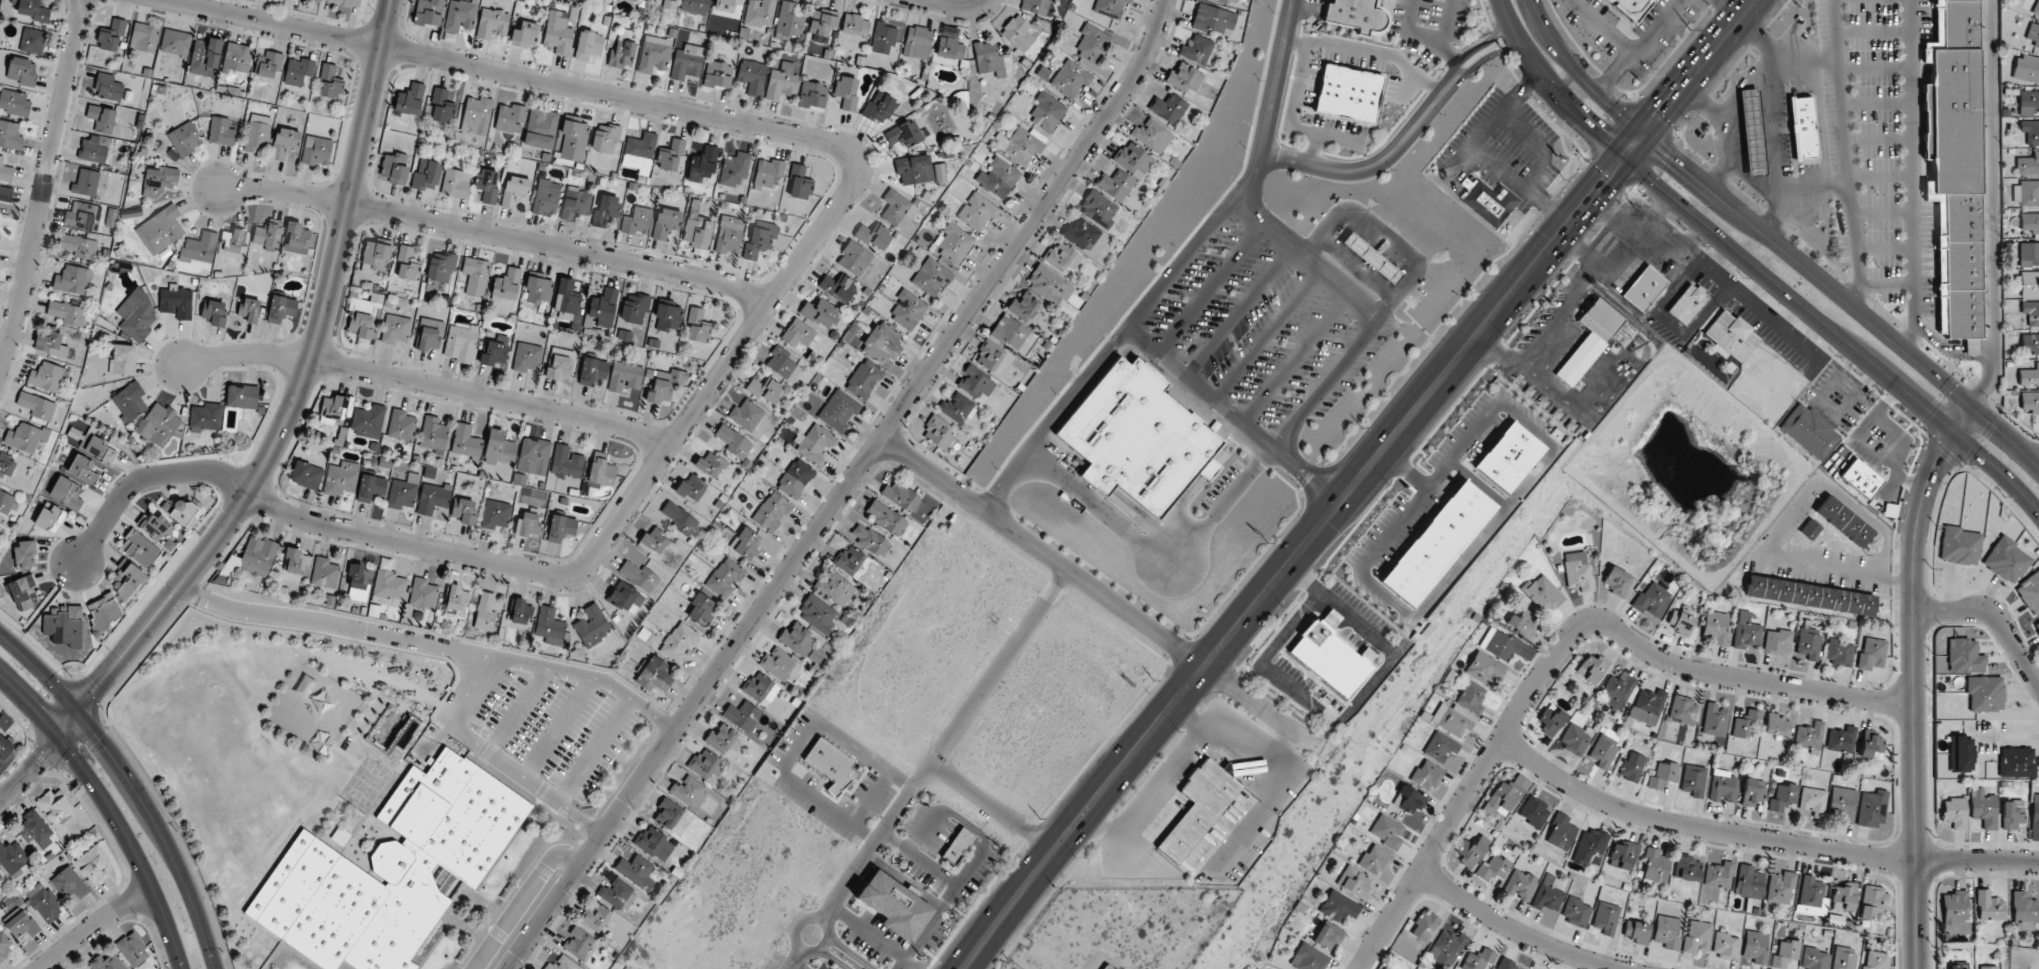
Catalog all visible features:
building: (324, 0)
building: (1227, 1)
building: (347, 3)
building: (667, 4)
building: (725, 5)
building: (695, 6)
road: (952, 6)
building: (1035, 6)
building: (1110, 8)
building: (1630, 8)
building: (2036, 8)
building: (32, 11)
building: (428, 13)
building: (759, 13)
building: (1357, 14)
building: (460, 16)
building: (1212, 19)
building: (788, 22)
building: (505, 24)
building: (822, 25)
building: (854, 29)
power tower: (1688, 29)
building: (1018, 33)
building: (557, 34)
building: (2033, 34)
building: (111, 35)
building: (525, 35)
building: (144, 37)
building: (883, 38)
building: (32, 40)
building: (917, 42)
building: (175, 43)
building: (1092, 43)
building: (588, 45)
building: (948, 46)
building: (1196, 49)
building: (621, 54)
building: (654, 54)
building: (205, 56)
road: (1802, 56)
building: (988, 58)
building: (237, 59)
building: (687, 62)
building: (268, 64)
road: (1696, 68)
building: (2026, 68)
building: (22, 71)
building: (298, 71)
road: (1578, 74)
building: (718, 75)
building: (752, 76)
building: (1070, 78)
building: (1184, 78)
building: (329, 82)
building: (781, 82)
road: (1566, 83)
road: (1740, 85)
building: (107, 87)
road: (1550, 87)
building: (846, 91)
building: (1348, 94)
building: (812, 96)
building: (409, 99)
building: (14, 102)
building: (2028, 102)
building: (441, 107)
building: (878, 107)
building: (1169, 108)
road: (1652, 110)
traffic signals: (1662, 110)
building: (1047, 112)
building: (476, 115)
building: (101, 118)
building: (512, 119)
road: (1772, 121)
road: (1604, 125)
building: (1802, 128)
building: (540, 129)
traffic signals: (1590, 130)
road: (1725, 130)
building: (2030, 131)
building: (221, 132)
building: (1751, 132)
gas station: (1751, 132)
building: (902, 134)
building: (11, 135)
building: (1152, 135)
road: (1672, 136)
building: (257, 137)
building: (186, 138)
building: (605, 139)
building: (573, 140)
building: (285, 143)
building: (1019, 144)
road: (1631, 148)
building: (92, 150)
building: (316, 152)
building: (639, 153)
road: (1846, 153)
building: (670, 155)
building: (1132, 158)
power tower: (1583, 158)
traffic signals: (1673, 160)
building: (702, 164)
building: (2028, 165)
building: (1954, 166)
building: (393, 168)
building: (912, 168)
building: (734, 169)
building: (5, 171)
road: (1656, 171)
road: (1606, 173)
building: (768, 174)
building: (425, 175)
road: (1913, 176)
building: (997, 177)
building: (159, 181)
building: (85, 182)
building: (455, 183)
building: (799, 183)
traffic signals: (1602, 183)
building: (1115, 184)
road: (1750, 184)
building: (487, 185)
road: (43, 186)
road: (1241, 187)
road: (1813, 188)
building: (515, 191)
building: (2026, 193)
building: (5, 195)
building: (546, 197)
building: (1488, 201)
building: (575, 203)
road: (1993, 206)
building: (1098, 208)
building: (897, 209)
building: (605, 210)
building: (977, 212)
building: (82, 215)
building: (111, 217)
building: (636, 221)
building: (666, 222)
building: (2029, 222)
building: (160, 229)
building: (697, 233)
building: (267, 234)
road: (495, 234)
building: (1081, 234)
building: (729, 235)
building: (874, 236)
building: (296, 238)
building: (760, 240)
building: (953, 243)
building: (232, 244)
building: (78, 247)
building: (199, 249)
building: (2029, 254)
building: (376, 255)
building: (1062, 256)
building: (1370, 257)
building: (854, 259)
building: (407, 264)
building: (441, 266)
building: (474, 276)
building: (932, 278)
building: (72, 280)
building: (511, 283)
building: (2027, 283)
building: (1049, 285)
road: (1887, 286)
building: (837, 287)
building: (1644, 288)
building: (538, 290)
power tower: (1473, 291)
road: (1789, 293)
road: (1843, 297)
building: (566, 300)
building: (176, 301)
building: (1687, 303)
road: (767, 304)
building: (603, 305)
building: (1023, 306)
building: (281, 309)
building: (635, 309)
building: (908, 309)
building: (248, 310)
building: (2031, 312)
building: (65, 313)
building: (213, 313)
building: (820, 313)
building: (137, 315)
building: (364, 316)
building: (667, 318)
building: (697, 326)
building: (396, 329)
building: (798, 334)
building: (1014, 334)
building: (430, 335)
building: (1731, 336)
building: (1590, 340)
road: (1936, 341)
building: (461, 342)
building: (882, 343)
building: (2030, 343)
building: (51, 344)
road: (1146, 345)
road: (1970, 348)
road: (1986, 348)
building: (504, 353)
building: (989, 355)
building: (527, 357)
building: (122, 359)
building: (783, 363)
building: (559, 364)
building: (592, 371)
building: (2029, 376)
building: (46, 377)
building: (625, 377)
building: (864, 379)
building: (975, 382)
road: (427, 383)
building: (764, 390)
building: (660, 392)
building: (241, 396)
building: (129, 401)
road: (295, 401)
building: (2030, 401)
traffic signals: (1969, 405)
building: (35, 406)
building: (956, 407)
building: (333, 409)
building: (838, 411)
building: (746, 415)
building: (205, 417)
road: (1961, 419)
building: (368, 420)
building: (159, 424)
building: (401, 424)
power tower: (1360, 427)
building: (1810, 431)
building: (938, 433)
traffic signals: (1953, 433)
building: (434, 434)
building: (1138, 437)
building: (26, 439)
building: (466, 442)
building: (733, 444)
building: (814, 444)
building: (1519, 446)
building: (97, 448)
building: (509, 452)
building: (532, 455)
building: (566, 463)
building: (709, 464)
building: (7, 465)
building: (1500, 468)
building: (82, 469)
road: (1998, 470)
building: (601, 473)
building: (306, 475)
building: (1860, 478)
building: (341, 479)
building: (795, 479)
building: (370, 487)
building: (690, 489)
road: (846, 489)
building: (403, 490)
building: (66, 494)
building: (903, 498)
building: (433, 499)
building: (5, 502)
building: (464, 511)
building: (184, 512)
building: (771, 512)
building: (506, 515)
building: (49, 518)
building: (678, 518)
building: (886, 518)
road: (1781, 521)
building: (1843, 521)
building: (527, 524)
building: (560, 528)
building: (1810, 529)
building: (870, 541)
building: (653, 542)
power tower: (1266, 542)
building: (1438, 543)
building: (745, 545)
building: (1959, 546)
building: (139, 549)
building: (25, 554)
building: (258, 556)
building: (2006, 559)
building: (849, 560)
road: (1289, 562)
building: (296, 565)
building: (1577, 571)
building: (325, 572)
building: (637, 576)
building: (724, 578)
building: (126, 580)
building: (1617, 580)
building: (358, 582)
building: (389, 588)
building: (835, 588)
road: (1100, 592)
building: (24, 593)
building: (423, 593)
building: (1542, 593)
building: (2030, 593)
building: (1809, 595)
building: (625, 596)
building: (457, 597)
building: (1652, 600)
building: (701, 609)
building: (104, 611)
building: (485, 611)
building: (520, 611)
building: (818, 614)
road: (1993, 617)
building: (1681, 620)
building: (1523, 622)
road: (337, 623)
building: (592, 625)
building: (2037, 625)
building: (64, 626)
building: (549, 626)
building: (1716, 627)
building: (1746, 634)
building: (796, 639)
building: (679, 642)
building: (1777, 642)
building: (1808, 643)
road: (1914, 643)
building: (1504, 645)
road: (1559, 646)
building: (1838, 652)
building: (1871, 654)
building: (816, 655)
building: (1964, 656)
building: (1330, 659)
building: (779, 665)
building: (1484, 667)
building: (1592, 668)
building: (655, 675)
power tower: (1152, 679)
road: (472, 682)
building: (757, 687)
building: (1618, 689)
building: (1985, 693)
building: (1471, 696)
building: (1647, 705)
building: (1683, 710)
traffic signals: (78, 712)
building: (742, 716)
building: (1452, 719)
building: (1714, 720)
building: (1551, 721)
building: (1747, 724)
building: (1777, 725)
building: (1809, 735)
traffic signals: (59, 738)
building: (1574, 739)
building: (1840, 739)
building: (722, 740)
road: (944, 744)
building: (1870, 745)
building: (1440, 747)
building: (4, 748)
building: (1604, 751)
building: (1959, 753)
building: (829, 762)
building: (2016, 762)
building: (705, 764)
road: (29, 767)
building: (1631, 767)
building: (1427, 775)
building: (1663, 775)
building: (1694, 778)
road: (132, 785)
building: (1723, 786)
building: (689, 791)
building: (1752, 791)
building: (1504, 796)
building: (1782, 797)
building: (1408, 800)
building: (1813, 801)
building: (1843, 803)
building: (55, 805)
road: (993, 807)
building: (1199, 807)
building: (1872, 808)
building: (1983, 808)
road: (109, 810)
building: (1533, 811)
building: (1954, 813)
building: (2011, 813)
building: (668, 814)
power tower: (1038, 818)
building: (2035, 818)
road: (1700, 828)
building: (1387, 831)
building: (1560, 832)
building: (340, 836)
building: (654, 843)
building: (1590, 846)
building: (957, 847)
building: (1470, 851)
building: (1622, 855)
building: (13, 858)
building: (1375, 859)
road: (1977, 860)
building: (93, 865)
building: (1654, 866)
building: (1686, 867)
building: (1492, 868)
building: (391, 870)
building: (636, 871)
building: (1718, 875)
building: (0, 876)
building: (1354, 882)
building: (1748, 882)
building: (69, 884)
building: (1520, 885)
building: (1780, 887)
building: (617, 894)
building: (1547, 894)
building: (1811, 895)
building: (1843, 897)
building: (43, 902)
building: (1872, 902)
building: (1989, 906)
building: (1340, 907)
building: (1954, 907)
building: (1576, 911)
building: (2024, 912)
road: (1916, 915)
building: (595, 917)
building: (1606, 918)
building: (21, 923)
road: (93, 925)
building: (1424, 925)
road: (793, 926)
road: (1515, 929)
building: (1636, 931)
building: (1666, 931)
building: (1697, 936)
building: (1327, 937)
building: (578, 943)
building: (5, 946)
building: (1725, 946)
building: (1755, 946)
building: (1446, 947)
building: (131, 949)
building: (1785, 953)
power tower: (918, 955)
road: (841, 957)
road: (789, 958)
building: (1308, 958)
building: (1843, 958)
building: (1478, 959)
building: (1814, 959)
building: (1875, 960)
building: (106, 963)
building: (561, 964)
building: (1507, 965)
building: (1107, 966)
building: (1957, 966)
building: (1988, 967)
building: (1385, 968)

